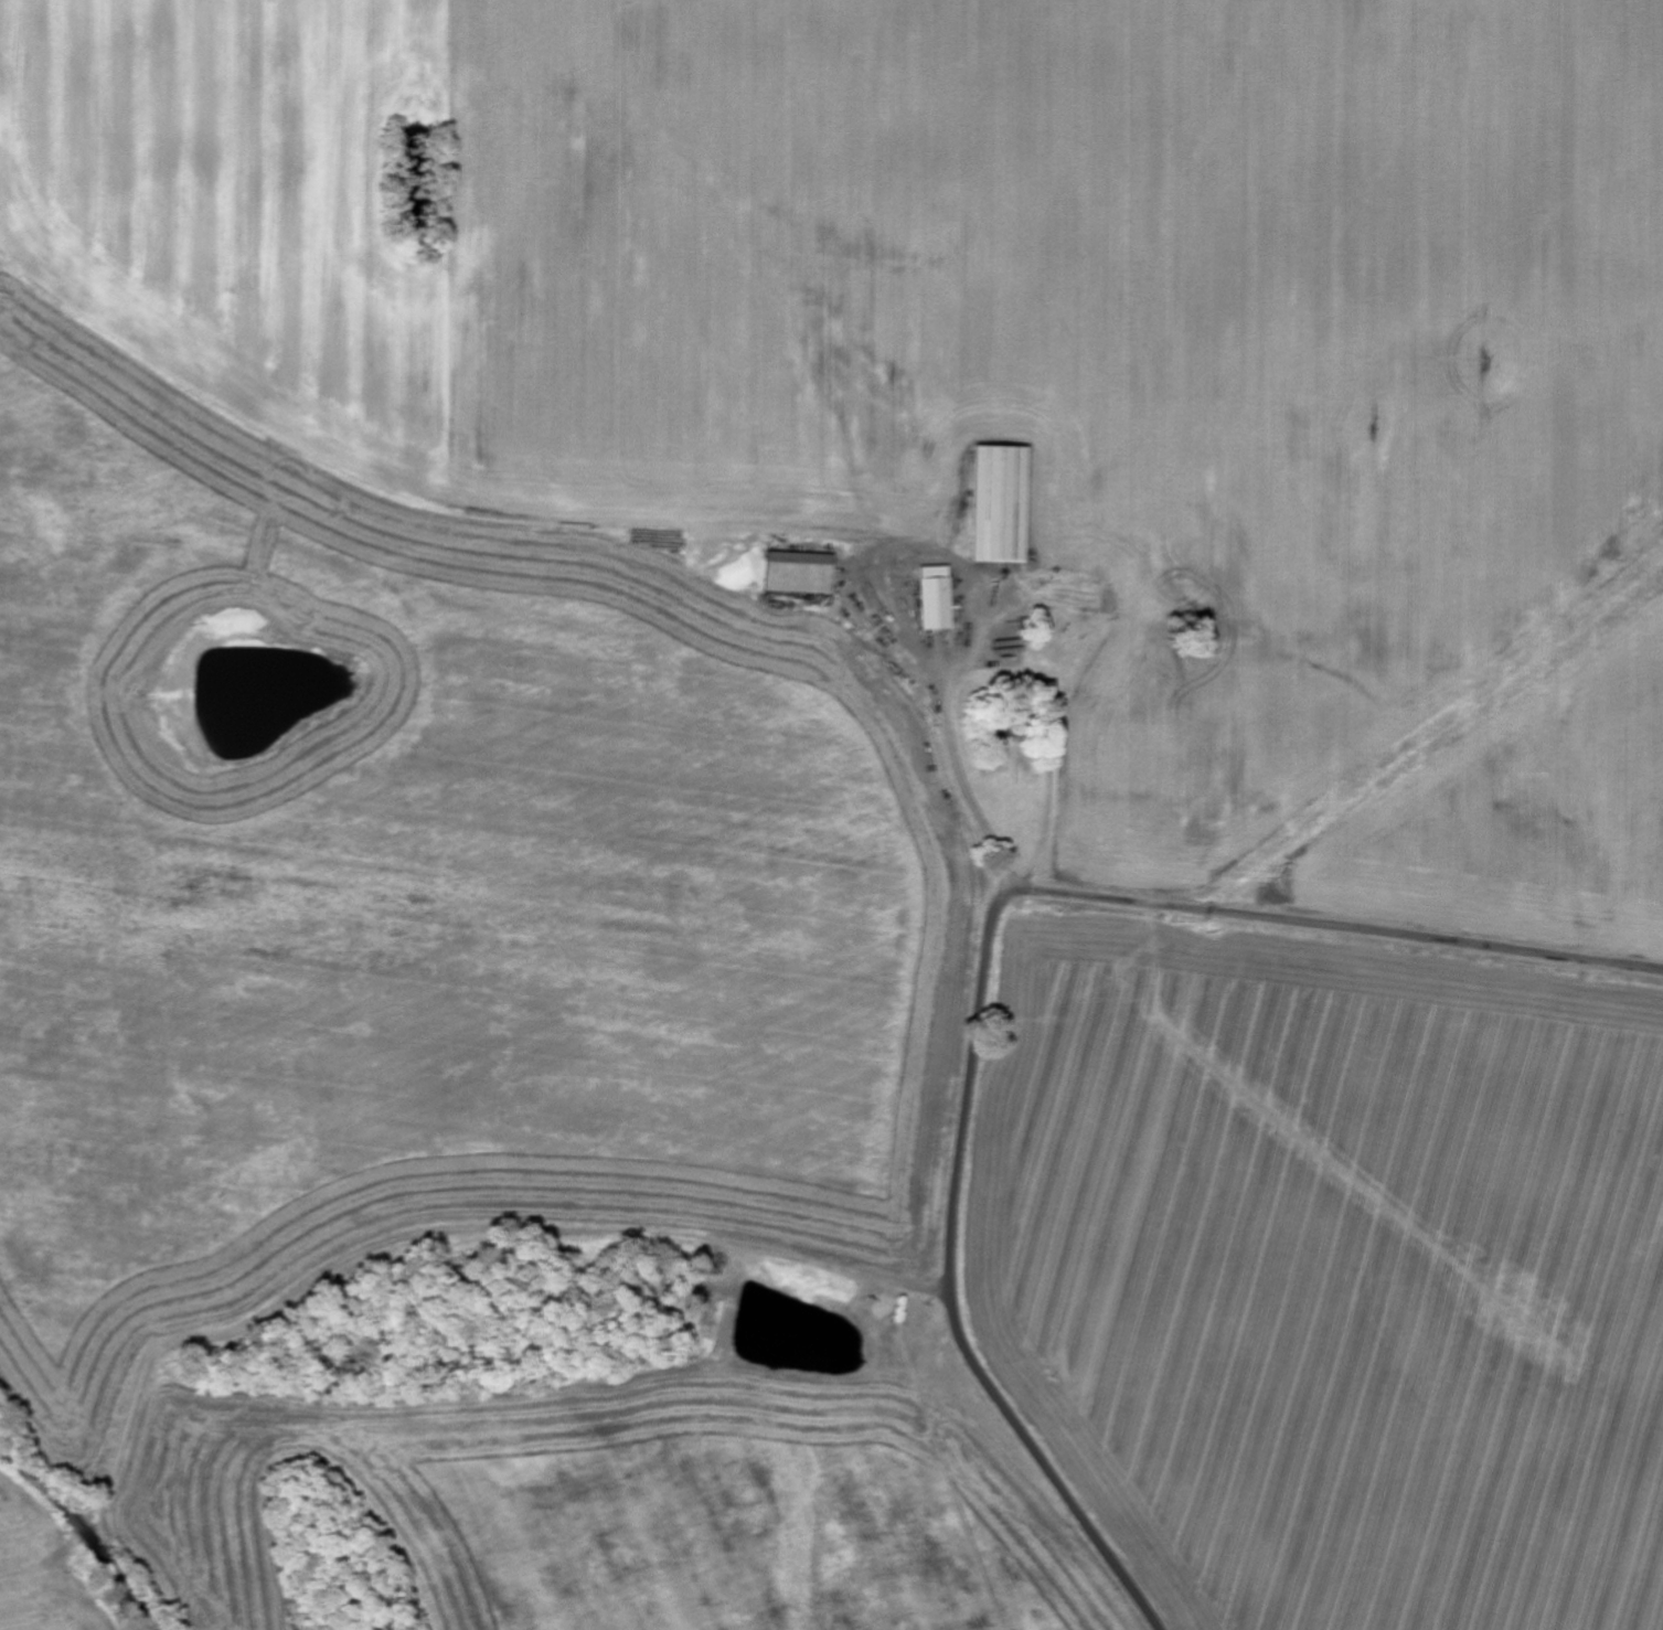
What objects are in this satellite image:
building: (998, 505)
building: (797, 574)
building: (935, 605)
road: (1399, 931)
road: (952, 1223)
road: (510, 1377)

